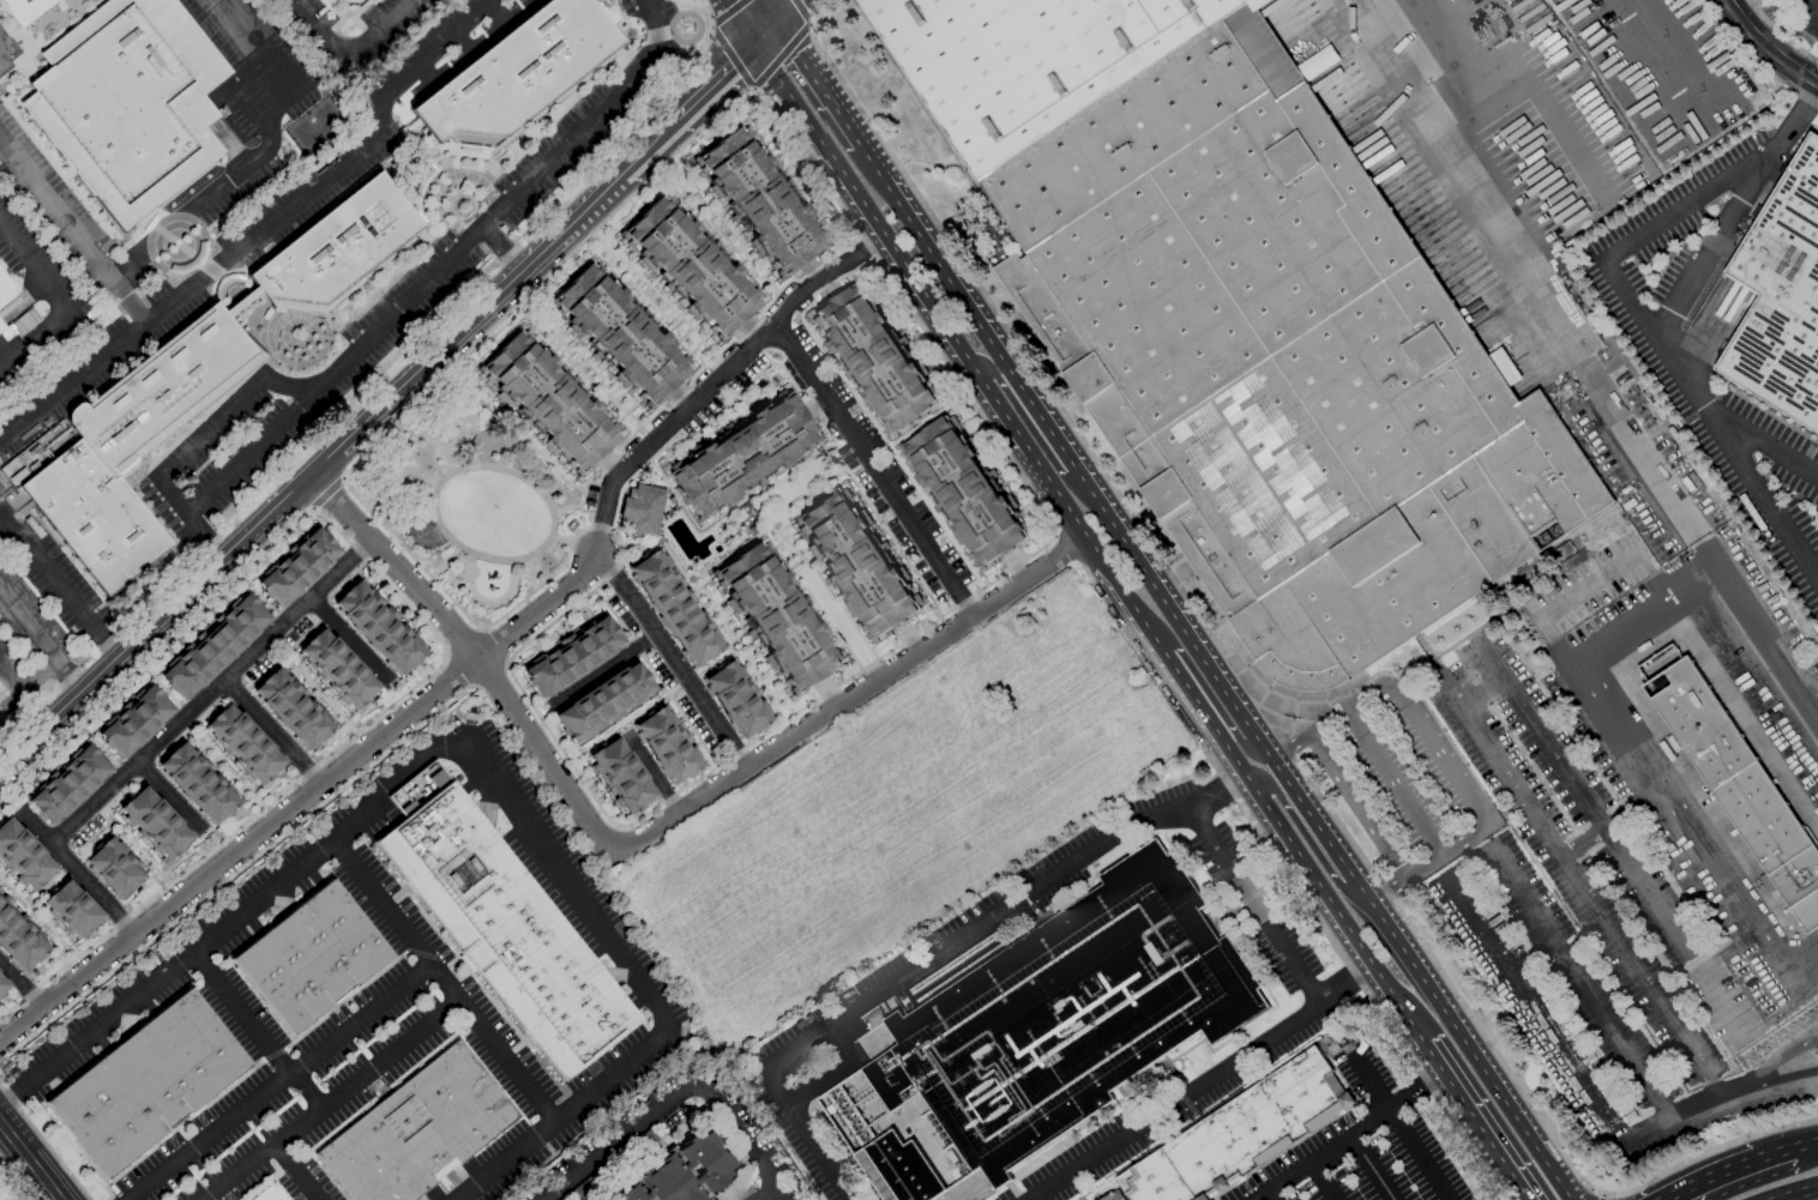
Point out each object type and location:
road: (1728, 1)
building: (350, 4)
road: (1814, 5)
road: (1810, 7)
building: (25, 10)
road: (769, 11)
road: (787, 11)
road: (728, 12)
road: (802, 12)
road: (685, 13)
road: (709, 14)
road: (742, 20)
road: (766, 32)
road: (1780, 35)
road: (1765, 48)
road: (347, 50)
road: (781, 55)
road: (732, 56)
road: (1753, 60)
building: (518, 73)
road: (716, 83)
road: (817, 84)
building: (130, 103)
road: (761, 123)
park: (315, 126)
road: (772, 144)
road: (763, 145)
road: (648, 150)
road: (787, 155)
road: (259, 157)
road: (789, 165)
road: (935, 165)
road: (795, 176)
road: (790, 185)
road: (805, 188)
road: (702, 189)
road: (678, 195)
building: (759, 201)
road: (814, 201)
road: (634, 206)
road: (691, 207)
road: (702, 207)
road: (1681, 207)
road: (55, 209)
road: (722, 211)
road: (1735, 211)
road: (727, 217)
road: (702, 218)
road: (734, 224)
road: (832, 225)
road: (712, 227)
road: (260, 228)
road: (739, 230)
road: (708, 235)
road: (714, 241)
road: (614, 243)
road: (745, 246)
road: (721, 248)
road: (505, 249)
road: (726, 253)
road: (614, 257)
road: (932, 257)
road: (744, 259)
road: (754, 259)
building: (690, 267)
road: (624, 269)
road: (812, 269)
road: (642, 271)
road: (753, 273)
road: (765, 273)
road: (791, 275)
road: (746, 276)
road: (773, 279)
road: (626, 281)
road: (847, 281)
road: (656, 282)
road: (632, 285)
road: (759, 287)
road: (661, 288)
road: (829, 288)
building: (6, 289)
road: (669, 294)
road: (658, 295)
road: (62, 296)
building: (1780, 296)
road: (673, 299)
road: (127, 300)
road: (638, 302)
road: (650, 302)
road: (643, 308)
road: (398, 310)
road: (531, 313)
road: (682, 314)
road: (650, 315)
road: (687, 319)
building: (1245, 319)
road: (655, 321)
building: (18, 325)
road: (542, 325)
building: (1, 326)
road: (672, 327)
road: (751, 328)
road: (908, 332)
road: (684, 334)
building: (619, 336)
road: (552, 338)
road: (953, 339)
road: (498, 340)
road: (734, 340)
road: (913, 340)
road: (712, 344)
road: (696, 348)
road: (917, 348)
road: (554, 349)
road: (584, 349)
road: (559, 355)
road: (590, 355)
building: (875, 360)
road: (928, 361)
road: (597, 362)
road: (602, 367)
road: (381, 368)
road: (1583, 368)
road: (566, 370)
road: (580, 370)
road: (934, 373)
road: (475, 375)
road: (572, 375)
road: (602, 379)
road: (718, 379)
road: (767, 382)
building: (198, 384)
road: (579, 384)
road: (481, 385)
road: (608, 385)
road: (795, 385)
road: (584, 388)
road: (614, 391)
road: (757, 394)
road: (490, 397)
road: (681, 397)
road: (597, 398)
road: (613, 402)
building: (547, 403)
road: (745, 403)
road: (345, 404)
road: (815, 404)
road: (499, 406)
road: (862, 411)
road: (624, 414)
road: (640, 414)
road: (733, 415)
road: (1039, 417)
road: (727, 418)
road: (1024, 422)
road: (1710, 423)
road: (920, 424)
road: (720, 427)
road: (819, 427)
road: (518, 428)
road: (712, 429)
road: (431, 440)
road: (699, 440)
road: (694, 444)
road: (685, 445)
road: (1769, 445)
road: (541, 450)
road: (897, 452)
road: (247, 453)
road: (815, 453)
road: (672, 454)
road: (546, 456)
building: (744, 456)
road: (553, 459)
road: (867, 459)
road: (901, 462)
road: (609, 464)
road: (853, 469)
road: (873, 469)
road: (788, 471)
road: (564, 472)
building: (17, 474)
road: (312, 475)
road: (590, 475)
road: (911, 475)
road: (396, 476)
road: (571, 478)
road: (772, 478)
road: (586, 483)
road: (778, 483)
road: (377, 487)
road: (917, 487)
building: (963, 493)
road: (853, 494)
park: (469, 499)
road: (927, 499)
road: (739, 502)
road: (862, 507)
road: (566, 508)
road: (726, 508)
building: (640, 511)
road: (868, 514)
road: (712, 517)
road: (873, 520)
road: (941, 520)
road: (704, 523)
road: (693, 525)
road: (787, 526)
park: (425, 529)
road: (880, 535)
road: (950, 536)
road: (785, 538)
road: (561, 539)
road: (885, 541)
road: (953, 542)
road: (789, 543)
road: (958, 548)
road: (891, 549)
road: (734, 550)
road: (791, 554)
road: (895, 555)
road: (413, 557)
road: (524, 557)
road: (812, 559)
road: (446, 562)
road: (970, 562)
building: (859, 563)
road: (791, 565)
road: (801, 566)
road: (1016, 566)
building: (299, 568)
road: (905, 568)
road: (975, 571)
road: (997, 572)
road: (528, 574)
road: (790, 575)
road: (911, 580)
road: (341, 583)
road: (374, 584)
road: (703, 585)
road: (60, 587)
road: (378, 589)
road: (711, 590)
road: (799, 590)
road: (255, 595)
road: (487, 602)
road: (722, 602)
road: (393, 607)
road: (843, 607)
building: (675, 608)
road: (710, 609)
road: (398, 611)
road: (586, 611)
road: (813, 611)
road: (848, 613)
road: (1642, 613)
road: (582, 615)
road: (728, 615)
building: (775, 617)
road: (716, 623)
road: (823, 623)
road: (29, 625)
road: (735, 627)
road: (561, 628)
building: (378, 629)
road: (416, 629)
road: (555, 632)
road: (433, 634)
road: (862, 634)
road: (830, 635)
road: (739, 637)
road: (908, 638)
road: (349, 639)
road: (890, 644)
building: (216, 646)
road: (537, 649)
road: (736, 649)
road: (841, 649)
road: (750, 650)
road: (475, 653)
building: (573, 657)
road: (670, 658)
road: (228, 661)
road: (716, 662)
road: (758, 663)
road: (301, 665)
road: (306, 668)
building: (338, 669)
road: (422, 669)
road: (604, 670)
road: (761, 670)
road: (290, 673)
road: (70, 675)
road: (748, 675)
road: (295, 676)
road: (656, 677)
road: (317, 681)
road: (687, 681)
road: (765, 683)
road: (28, 685)
road: (525, 686)
road: (158, 687)
road: (248, 687)
road: (306, 687)
road: (211, 691)
road: (1187, 691)
road: (778, 692)
road: (826, 692)
road: (318, 693)
road: (1481, 694)
road: (848, 695)
road: (783, 698)
road: (808, 698)
road: (1209, 698)
road: (333, 699)
building: (736, 700)
road: (1253, 700)
building: (603, 702)
road: (323, 706)
building: (294, 707)
road: (199, 718)
building: (134, 723)
road: (622, 723)
road: (349, 725)
road: (272, 731)
road: (761, 732)
road: (207, 742)
road: (97, 746)
road: (211, 746)
building: (667, 746)
road: (195, 747)
building: (243, 747)
road: (199, 750)
road: (221, 756)
road: (1439, 758)
road: (211, 761)
road: (1236, 762)
road: (223, 766)
road: (652, 772)
road: (237, 776)
building: (621, 777)
building: (1734, 779)
building: (198, 780)
road: (228, 780)
road: (396, 782)
building: (70, 784)
road: (144, 784)
road: (1392, 784)
road: (170, 796)
road: (1579, 798)
road: (301, 800)
road: (254, 801)
road: (71, 808)
road: (1355, 809)
building: (155, 824)
road: (120, 828)
road: (1320, 833)
road: (1691, 834)
road: (136, 839)
road: (95, 843)
road: (1308, 843)
road: (130, 849)
road: (145, 850)
building: (22, 858)
road: (139, 860)
road: (176, 863)
building: (114, 868)
road: (77, 870)
road: (1, 882)
road: (49, 885)
building: (1766, 885)
road: (48, 887)
road: (1581, 890)
road: (10, 897)
building: (72, 910)
road: (1336, 911)
road: (1252, 913)
road: (26, 916)
road: (37, 917)
road: (53, 923)
road: (38, 927)
building: (506, 929)
road: (62, 936)
building: (18, 939)
road: (192, 954)
road: (50, 955)
building: (311, 957)
road: (907, 973)
road: (1353, 976)
road: (445, 979)
road: (642, 983)
road: (20, 984)
building: (2, 985)
road: (1583, 985)
road: (4, 1008)
road: (242, 1014)
building: (1068, 1015)
road: (1555, 1042)
road: (1790, 1050)
road: (1799, 1075)
road: (282, 1081)
building: (148, 1083)
road: (307, 1090)
road: (13, 1098)
road: (331, 1099)
road: (1172, 1105)
road: (1465, 1109)
building: (419, 1130)
road: (1401, 1130)
building: (1241, 1134)
road: (1344, 1135)
road: (624, 1136)
road: (44, 1142)
road: (746, 1145)
road: (1804, 1145)
building: (637, 1146)
road: (1772, 1153)
road: (284, 1156)
road: (29, 1162)
parking lot: (1365, 1163)
road: (1368, 1166)
building: (899, 1170)
building: (682, 1172)
road: (1559, 1172)
road: (1708, 1177)
road: (1320, 1180)
building: (594, 1181)
road: (306, 1183)
road: (10, 1187)
road: (1515, 1188)
road: (1518, 1188)
building: (741, 1190)
road: (1275, 1193)
road: (1796, 1193)
building: (269, 1194)
road: (769, 1194)
building: (1116, 1196)
road: (1600, 1196)

